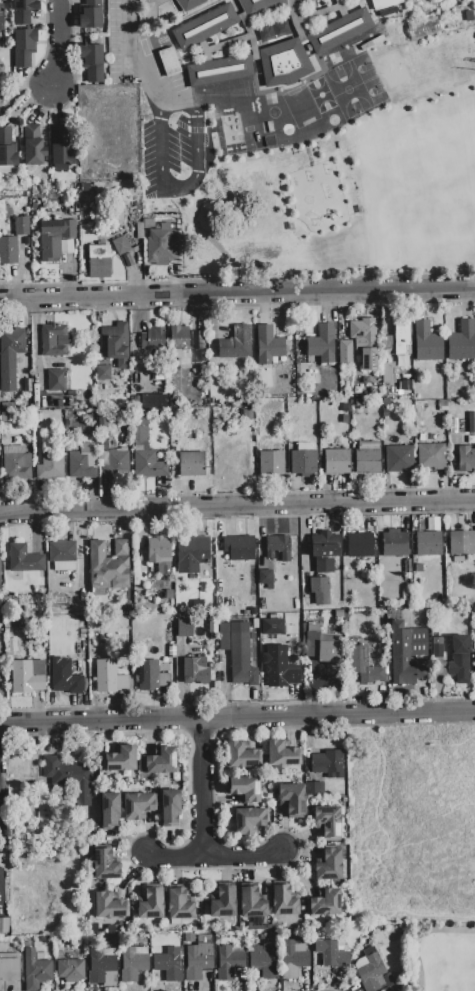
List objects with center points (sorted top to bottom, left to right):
building: (303, 1)
building: (189, 4)
building: (384, 4)
building: (259, 6)
building: (23, 11)
building: (90, 15)
building: (1, 18)
building: (204, 26)
building: (272, 30)
building: (340, 31)
road: (62, 43)
building: (23, 47)
building: (168, 61)
building: (92, 63)
building: (284, 63)
road: (139, 65)
building: (220, 71)
building: (33, 145)
building: (7, 149)
building: (61, 149)
road: (178, 166)
park: (433, 176)
building: (21, 224)
building: (54, 237)
building: (121, 246)
building: (161, 246)
building: (8, 251)
building: (98, 261)
road: (237, 295)
building: (362, 329)
building: (155, 337)
building: (178, 338)
building: (402, 338)
building: (196, 340)
building: (53, 341)
building: (462, 341)
building: (426, 342)
building: (118, 343)
building: (236, 344)
building: (322, 344)
building: (268, 345)
building: (345, 352)
building: (9, 357)
building: (368, 359)
building: (388, 372)
building: (103, 373)
building: (57, 380)
building: (153, 401)
building: (386, 402)
building: (344, 407)
building: (385, 413)
building: (247, 415)
building: (75, 417)
building: (103, 419)
building: (345, 419)
building: (141, 433)
building: (399, 454)
building: (430, 454)
building: (466, 459)
building: (303, 460)
building: (337, 461)
building: (13, 462)
building: (232, 462)
building: (271, 462)
building: (367, 462)
building: (192, 464)
building: (114, 465)
building: (148, 465)
building: (50, 466)
building: (77, 466)
road: (237, 506)
building: (394, 543)
building: (461, 543)
building: (428, 544)
building: (359, 545)
building: (283, 547)
building: (239, 548)
building: (158, 550)
building: (325, 551)
building: (191, 554)
building: (63, 555)
building: (24, 559)
building: (108, 567)
building: (167, 573)
building: (264, 576)
building: (370, 579)
building: (409, 588)
building: (40, 589)
building: (319, 591)
building: (16, 623)
building: (213, 624)
building: (272, 626)
building: (184, 627)
building: (322, 647)
building: (437, 647)
building: (171, 651)
building: (237, 652)
building: (406, 653)
building: (459, 660)
building: (364, 667)
building: (196, 671)
building: (277, 671)
building: (474, 674)
building: (147, 675)
building: (28, 676)
building: (64, 677)
building: (109, 677)
road: (237, 719)
building: (282, 755)
building: (241, 756)
building: (121, 759)
building: (160, 761)
building: (328, 763)
building: (24, 768)
building: (69, 777)
road: (204, 789)
building: (246, 789)
building: (314, 789)
building: (291, 798)
building: (137, 805)
building: (169, 807)
building: (110, 811)
building: (249, 820)
building: (327, 822)
road: (1, 838)
road: (217, 857)
building: (104, 865)
building: (328, 865)
building: (283, 901)
building: (223, 902)
building: (252, 903)
building: (323, 903)
building: (151, 904)
building: (178, 905)
building: (110, 906)
building: (4, 926)
road: (419, 936)
building: (188, 938)
building: (44, 939)
building: (332, 954)
building: (198, 958)
building: (293, 958)
building: (265, 960)
park: (445, 960)
building: (133, 962)
building: (228, 963)
building: (168, 964)
park: (449, 964)
building: (103, 967)
building: (369, 969)
building: (9, 970)
building: (35, 970)
building: (70, 970)

